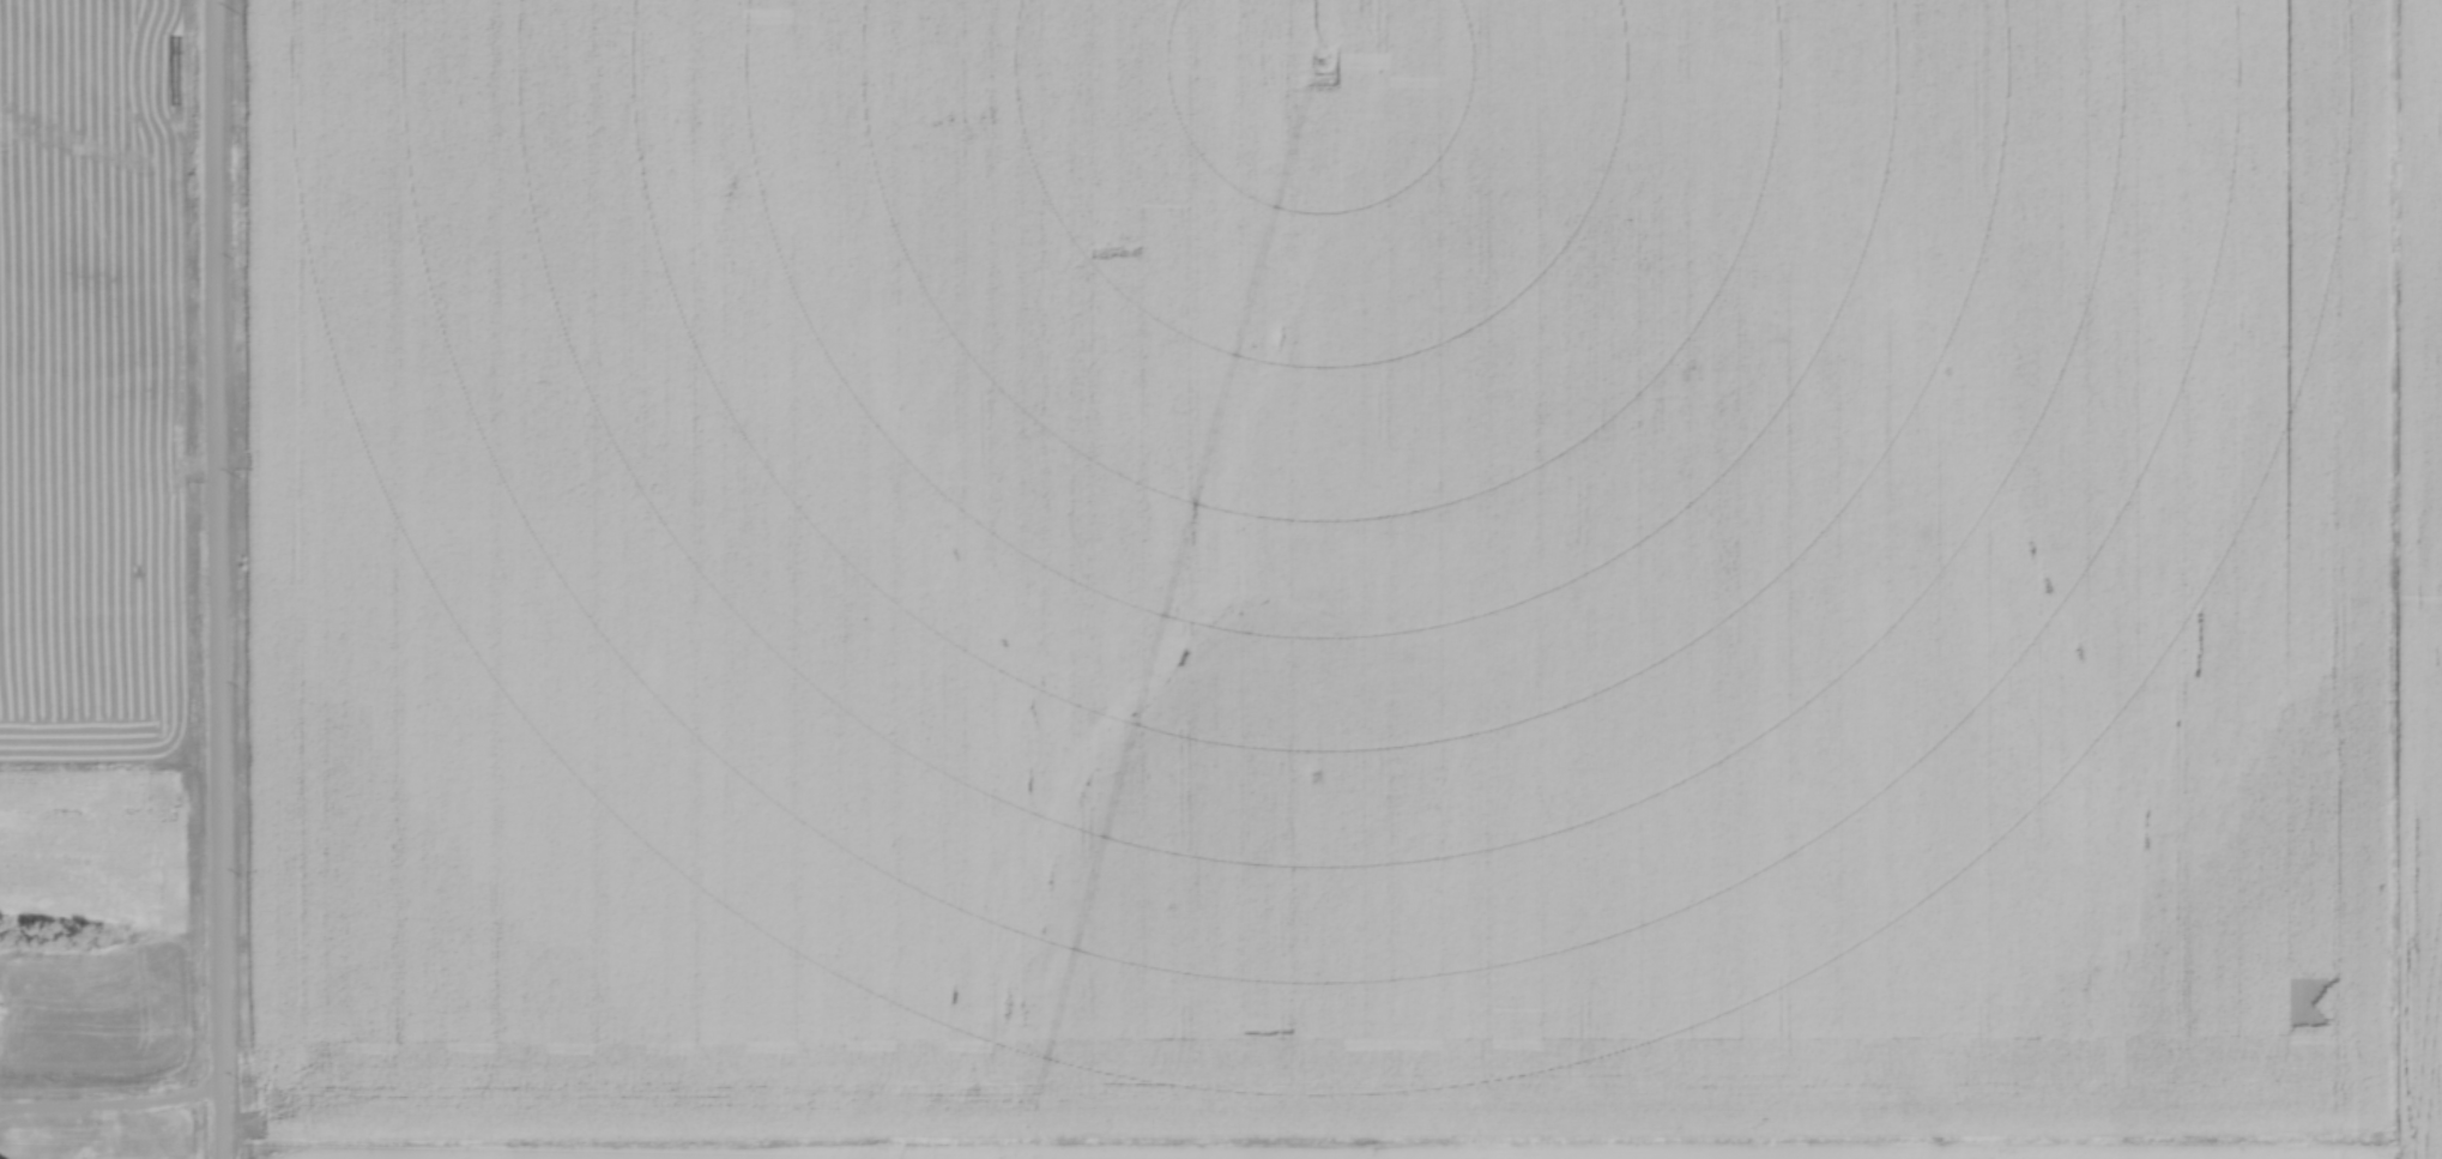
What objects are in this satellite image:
road: (218, 579)
road: (111, 1107)

